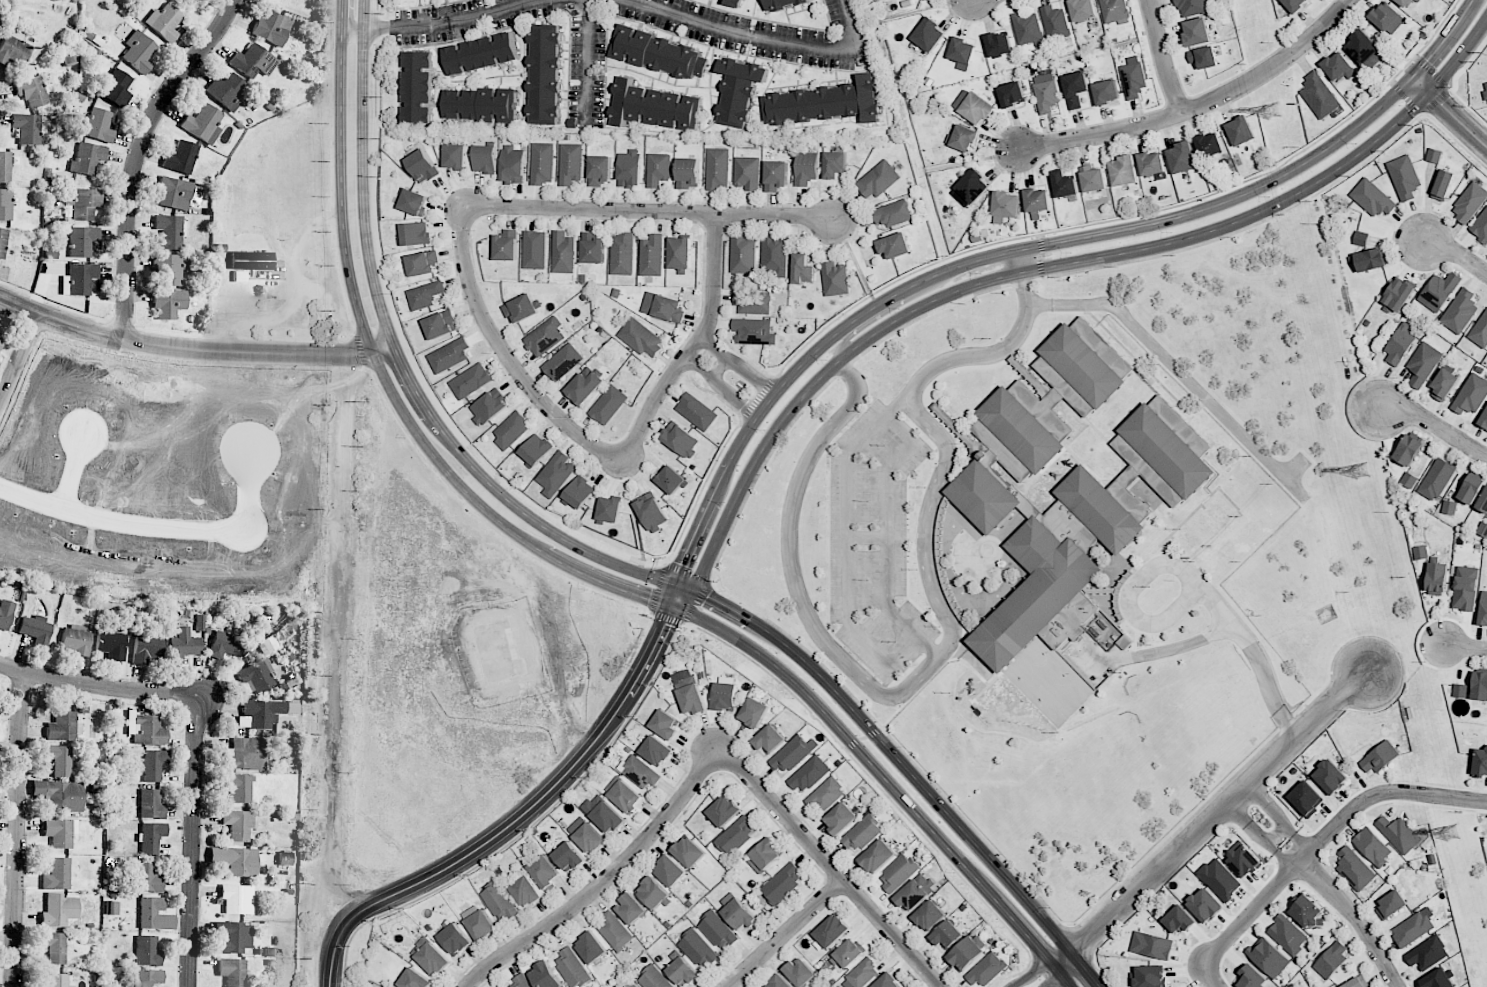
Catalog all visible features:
building: (1419, 0)
building: (1407, 2)
building: (737, 3)
building: (782, 4)
building: (1297, 5)
building: (1194, 6)
building: (1085, 10)
building: (1116, 10)
road: (489, 12)
building: (1390, 18)
building: (164, 22)
building: (1056, 23)
building: (271, 28)
road: (396, 28)
building: (1030, 29)
building: (1199, 32)
building: (931, 34)
road: (758, 39)
building: (1001, 45)
building: (1366, 47)
building: (14, 49)
building: (139, 52)
building: (964, 52)
building: (483, 53)
building: (658, 53)
road: (1161, 57)
building: (1205, 57)
road: (1415, 58)
building: (253, 61)
road: (587, 62)
building: (1340, 67)
street lamp: (1436, 70)
road: (1432, 73)
building: (548, 74)
building: (1135, 80)
road: (1391, 83)
building: (419, 87)
building: (116, 88)
building: (1077, 88)
road: (1450, 89)
building: (32, 90)
building: (741, 90)
building: (227, 91)
building: (1109, 92)
road: (1451, 92)
building: (1048, 93)
building: (1014, 94)
building: (1321, 96)
road: (1436, 100)
road: (1407, 101)
building: (829, 103)
building: (483, 105)
road: (1198, 105)
building: (657, 106)
road: (1470, 108)
building: (979, 109)
road: (1448, 112)
road: (1424, 113)
power tower: (1277, 115)
road: (1419, 115)
building: (203, 124)
building: (99, 125)
building: (26, 128)
building: (1243, 131)
building: (966, 138)
road: (1455, 141)
street lamp: (1355, 142)
building: (1211, 145)
road: (138, 155)
building: (1433, 155)
building: (455, 156)
building: (181, 157)
building: (1185, 158)
building: (87, 159)
building: (484, 159)
building: (542, 163)
building: (570, 163)
building: (512, 164)
building: (834, 164)
building: (1154, 164)
building: (422, 166)
building: (5, 167)
road: (331, 167)
building: (629, 168)
building: (717, 168)
building: (805, 168)
building: (658, 169)
building: (599, 170)
building: (1127, 171)
building: (688, 173)
building: (747, 173)
building: (775, 175)
building: (1404, 177)
building: (1095, 178)
building: (877, 180)
building: (1066, 184)
building: (1443, 185)
building: (972, 189)
building: (174, 193)
street lamp: (1268, 196)
building: (1372, 198)
building: (1039, 201)
building: (413, 202)
building: (1469, 202)
building: (82, 203)
building: (5, 205)
building: (1007, 206)
road: (647, 211)
building: (893, 213)
building: (1480, 226)
building: (167, 232)
street lamp: (1170, 232)
building: (415, 233)
road: (1097, 234)
building: (2, 241)
building: (82, 241)
building: (506, 245)
building: (893, 246)
building: (592, 248)
building: (534, 249)
building: (563, 252)
building: (680, 252)
street lamp: (1069, 252)
road: (1457, 252)
building: (622, 254)
building: (743, 254)
building: (652, 255)
building: (775, 256)
building: (251, 260)
building: (1370, 260)
road: (1017, 261)
building: (422, 263)
road: (1042, 267)
building: (802, 268)
building: (169, 269)
street lamp: (980, 273)
building: (78, 279)
building: (835, 279)
building: (1439, 291)
building: (424, 295)
building: (1397, 296)
building: (753, 302)
building: (168, 303)
building: (663, 307)
building: (521, 308)
street lamp: (898, 308)
road: (887, 311)
building: (1460, 311)
building: (440, 324)
street lamp: (136, 326)
building: (1480, 330)
building: (753, 331)
building: (545, 336)
building: (640, 337)
building: (0, 339)
building: (1399, 344)
road: (692, 346)
road: (192, 350)
road: (357, 350)
building: (449, 355)
road: (505, 356)
street lamp: (826, 359)
road: (399, 360)
building: (562, 362)
road: (19, 363)
road: (737, 363)
building: (1423, 363)
road: (414, 364)
road: (1175, 367)
road: (720, 368)
road: (383, 376)
building: (470, 381)
building: (1443, 385)
building: (584, 386)
road: (720, 387)
building: (1022, 391)
building: (1058, 393)
building: (1471, 394)
building: (608, 405)
building: (489, 406)
building: (696, 411)
building: (1483, 420)
road: (1435, 426)
street lamp: (762, 429)
building: (511, 430)
street lamp: (404, 438)
building: (680, 439)
building: (536, 449)
building: (1408, 450)
building: (1160, 453)
road: (78, 472)
power tower: (1363, 472)
building: (556, 473)
building: (1437, 479)
building: (671, 480)
road: (718, 482)
building: (1471, 488)
building: (580, 492)
building: (983, 496)
building: (1483, 501)
street lamp: (723, 502)
building: (1449, 507)
building: (610, 509)
building: (1029, 509)
building: (1100, 509)
building: (651, 511)
road: (480, 518)
road: (884, 524)
road: (159, 527)
building: (1482, 529)
road: (690, 540)
building: (1420, 552)
road: (850, 560)
street lamp: (696, 561)
traffic signals: (680, 564)
building: (1437, 578)
road: (705, 579)
road: (1194, 581)
building: (1465, 588)
street lamp: (586, 589)
building: (1035, 592)
road: (673, 594)
traffic signals: (708, 597)
traffic signals: (646, 598)
road: (698, 601)
building: (1483, 609)
building: (5, 614)
road: (667, 616)
traffic signals: (665, 623)
building: (35, 629)
building: (76, 640)
building: (262, 643)
road: (728, 644)
building: (111, 645)
building: (183, 645)
building: (225, 645)
road: (1465, 645)
road: (943, 649)
building: (148, 650)
road: (1164, 650)
road: (341, 662)
building: (255, 678)
building: (1479, 685)
road: (99, 687)
building: (1460, 690)
building: (691, 699)
building: (753, 712)
building: (264, 713)
building: (664, 724)
building: (63, 726)
building: (145, 729)
building: (769, 739)
road: (896, 745)
building: (656, 751)
building: (246, 754)
building: (793, 754)
building: (1379, 757)
building: (59, 760)
building: (1480, 760)
road: (902, 764)
building: (152, 765)
building: (639, 771)
building: (809, 774)
building: (1330, 776)
road: (886, 779)
building: (238, 787)
building: (826, 794)
building: (60, 795)
building: (625, 796)
building: (1306, 798)
building: (151, 804)
road: (1271, 807)
road: (1220, 809)
building: (724, 810)
road: (901, 812)
building: (603, 813)
building: (840, 818)
road: (516, 820)
building: (238, 824)
road: (20, 829)
road: (1249, 829)
building: (60, 832)
building: (861, 832)
power tower: (1448, 832)
building: (1399, 833)
building: (585, 834)
road: (1276, 834)
road: (1324, 835)
building: (735, 836)
building: (151, 837)
road: (197, 841)
road: (1297, 846)
building: (1372, 846)
building: (689, 852)
road: (1289, 855)
building: (568, 856)
building: (764, 856)
building: (876, 856)
building: (285, 858)
building: (235, 860)
building: (1243, 860)
road: (830, 868)
building: (1354, 869)
building: (669, 870)
building: (544, 872)
building: (898, 872)
building: (57, 875)
building: (147, 878)
building: (1219, 879)
road: (599, 882)
building: (783, 883)
building: (526, 891)
building: (915, 892)
building: (653, 894)
building: (237, 899)
building: (499, 902)
building: (1204, 905)
building: (1390, 905)
building: (631, 908)
building: (58, 911)
building: (737, 912)
building: (1308, 912)
building: (154, 914)
building: (929, 915)
road: (1355, 918)
building: (1178, 919)
building: (478, 922)
building: (1412, 929)
building: (614, 930)
building: (717, 930)
building: (831, 931)
road: (783, 934)
building: (947, 935)
building: (1287, 935)
building: (234, 937)
building: (455, 939)
road: (1079, 944)
building: (1151, 945)
building: (54, 947)
building: (591, 947)
building: (698, 949)
building: (147, 951)
building: (966, 952)
building: (847, 953)
building: (1427, 953)
road: (1062, 957)
building: (1268, 957)
building: (433, 959)
building: (1331, 960)
building: (572, 968)
building: (986, 969)
building: (681, 970)
building: (232, 972)
building: (799, 972)
road: (1040, 972)
road: (1030, 973)
building: (861, 974)
road: (1100, 974)
building: (545, 975)
building: (1150, 976)
road: (1209, 976)
road: (1051, 977)
building: (1251, 977)
building: (149, 978)
building: (653, 978)
building: (414, 979)
building: (1437, 979)
building: (57, 980)
building: (887, 981)
building: (520, 982)
building: (779, 982)
building: (1355, 983)
building: (632, 985)

